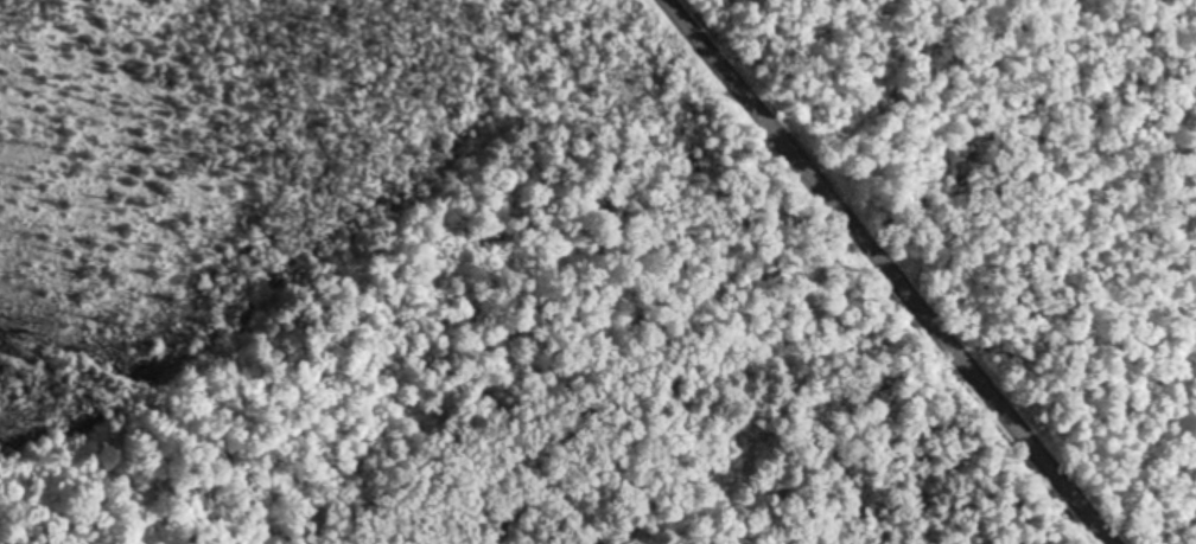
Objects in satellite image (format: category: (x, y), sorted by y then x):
road: (886, 273)

